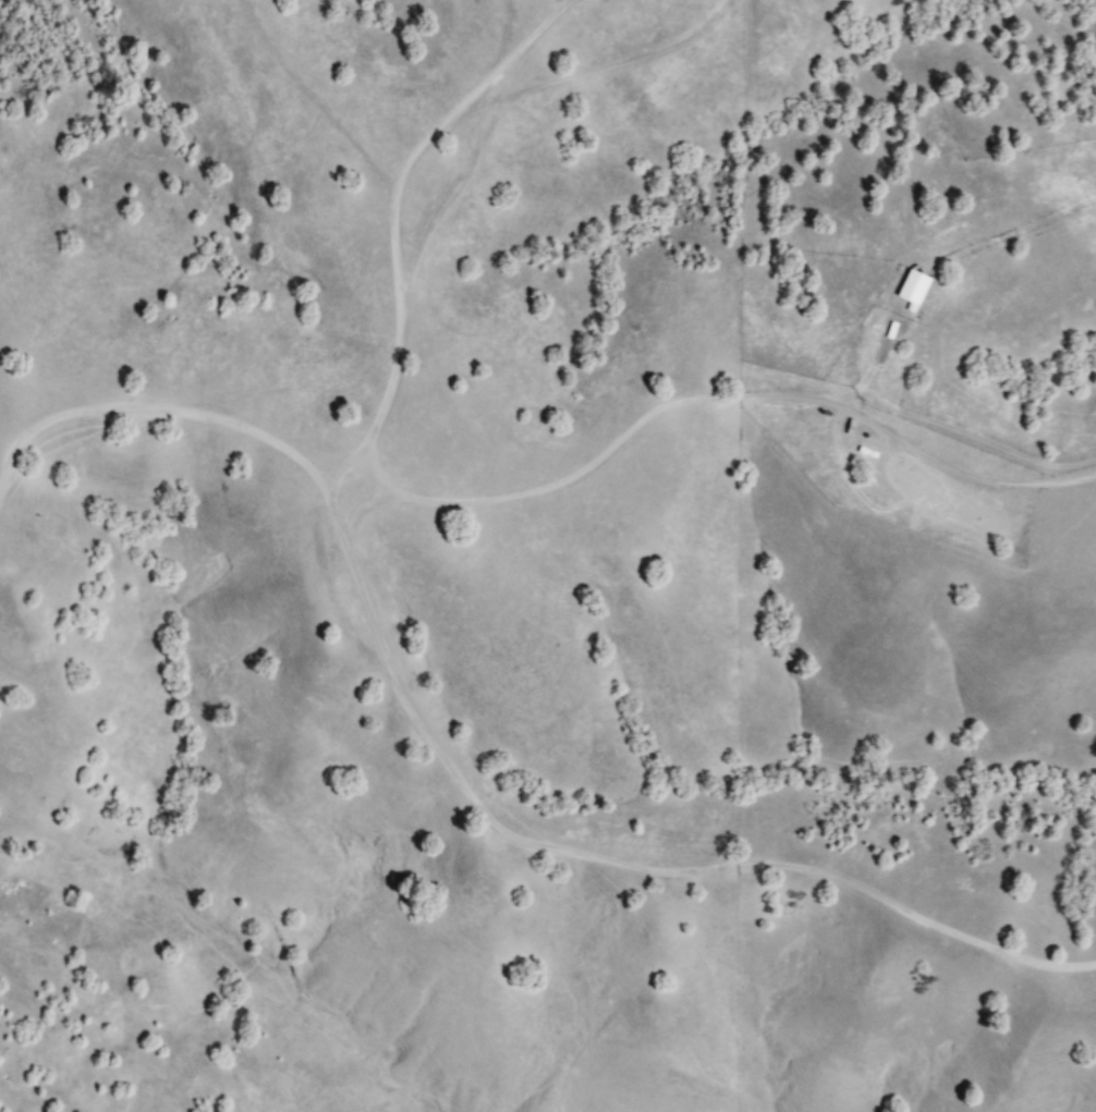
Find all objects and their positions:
building: (914, 288)

